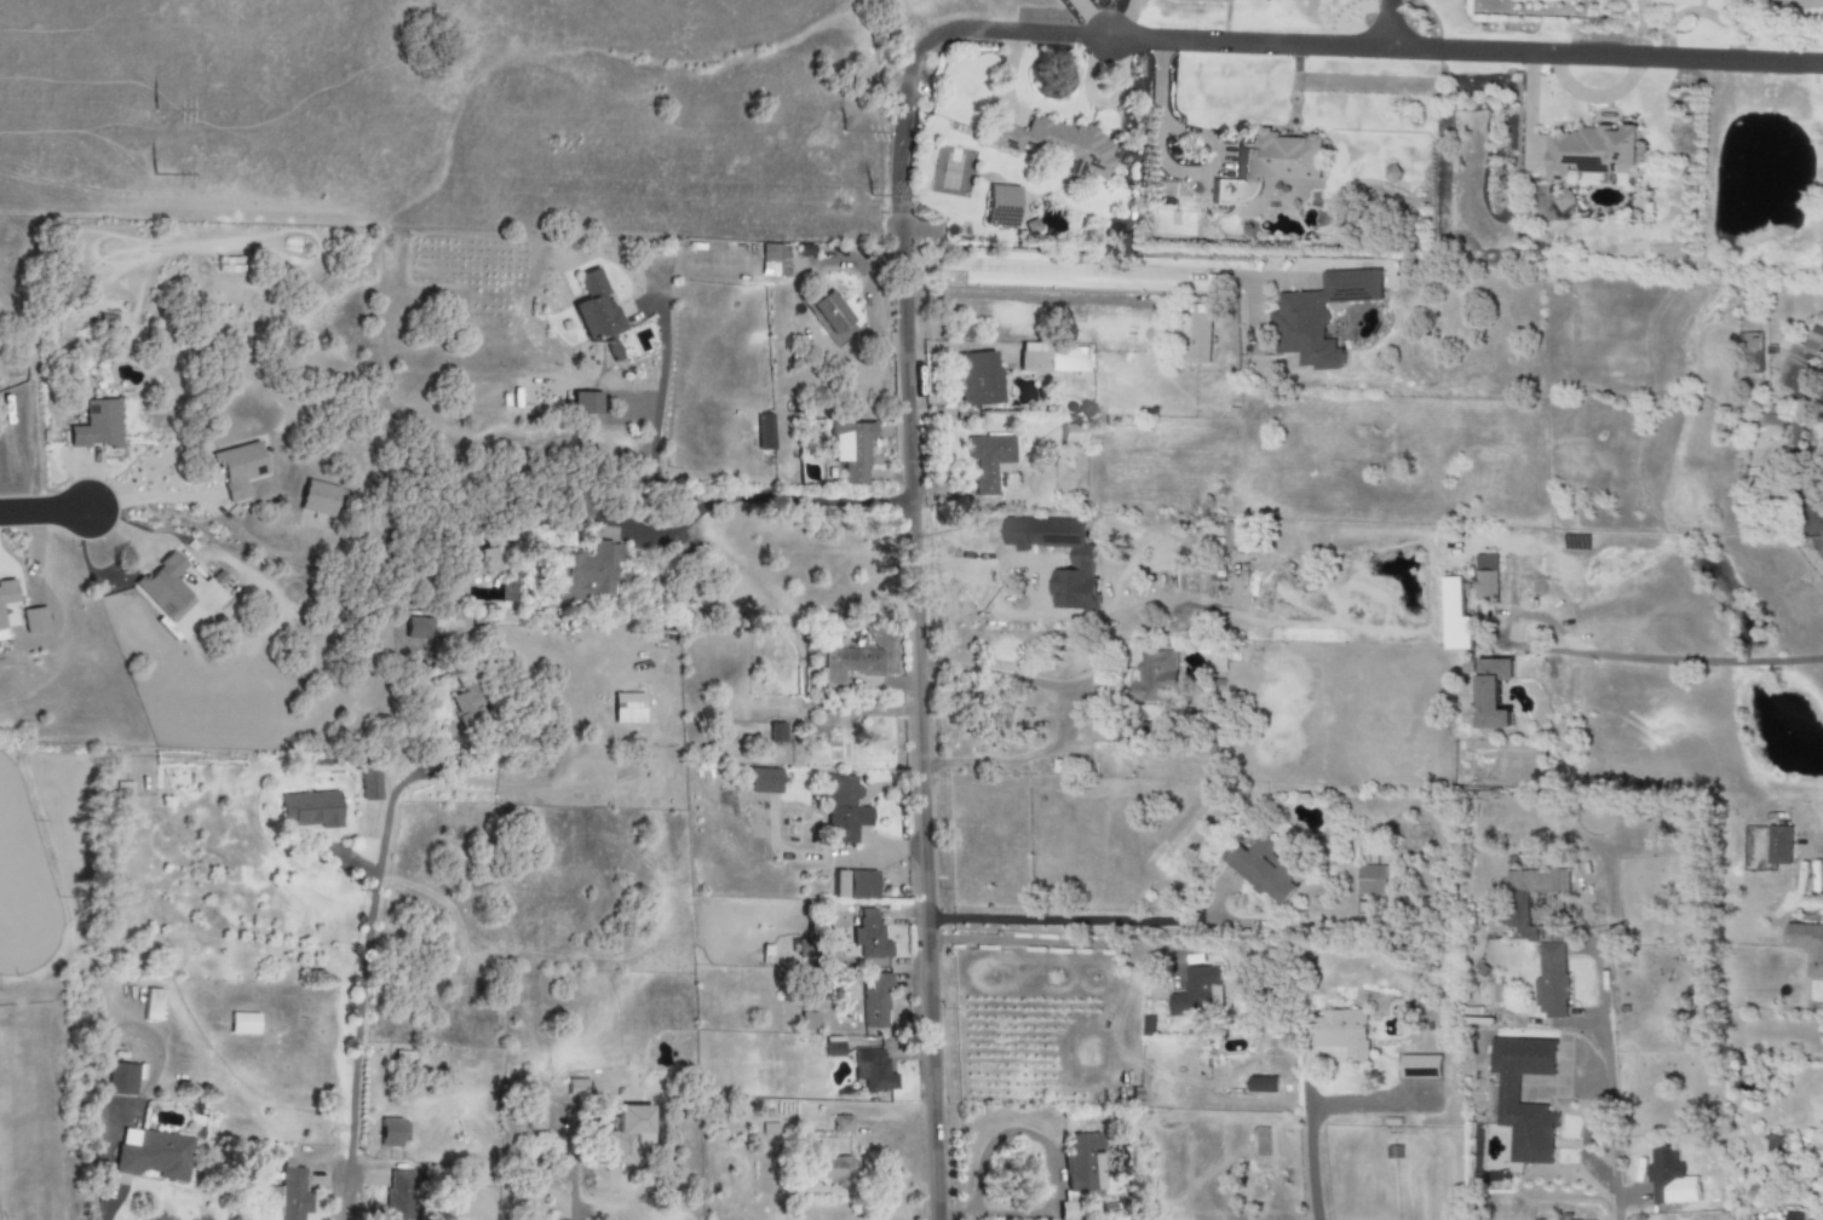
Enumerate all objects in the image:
building: (1716, 0)
road: (1091, 18)
road: (1387, 23)
road: (1066, 35)
road: (1605, 53)
building: (1054, 145)
building: (1589, 151)
building: (1270, 166)
building: (1564, 201)
building: (1001, 206)
building: (774, 259)
road: (1093, 269)
road: (1029, 298)
building: (596, 307)
building: (829, 313)
building: (1319, 317)
building: (1198, 336)
building: (1749, 353)
building: (1035, 357)
building: (1802, 363)
building: (977, 378)
building: (583, 403)
building: (1819, 404)
road: (656, 420)
building: (97, 425)
building: (764, 432)
building: (1074, 433)
building: (851, 450)
building: (989, 461)
building: (238, 468)
road: (145, 497)
building: (318, 499)
road: (811, 500)
road: (42, 511)
road: (692, 513)
building: (1083, 562)
building: (587, 571)
building: (1485, 586)
building: (6, 599)
building: (1455, 616)
building: (34, 621)
building: (419, 628)
road: (1663, 658)
building: (851, 664)
building: (1155, 677)
building: (1494, 694)
building: (468, 697)
building: (627, 708)
road: (1069, 712)
road: (915, 715)
building: (763, 781)
building: (369, 784)
building: (310, 808)
building: (843, 808)
building: (1778, 845)
road: (347, 865)
building: (1265, 869)
building: (1370, 880)
building: (855, 885)
building: (1516, 909)
road: (1094, 920)
building: (869, 937)
road: (1040, 943)
building: (1807, 946)
road: (364, 963)
building: (1551, 982)
building: (1197, 992)
building: (1496, 994)
building: (875, 1001)
building: (151, 1005)
building: (243, 1024)
road: (134, 1029)
building: (1340, 1032)
building: (1419, 1066)
building: (873, 1070)
building: (120, 1078)
building: (1261, 1084)
road: (1606, 1084)
building: (576, 1087)
building: (1507, 1089)
building: (534, 1112)
road: (1304, 1118)
building: (841, 1124)
building: (392, 1132)
building: (627, 1133)
building: (155, 1156)
building: (1083, 1162)
road: (1051, 1168)
road: (574, 1169)
building: (829, 1169)
building: (1664, 1175)
road: (108, 1178)
building: (398, 1195)
building: (288, 1196)
building: (1790, 1215)
building: (1565, 1216)

